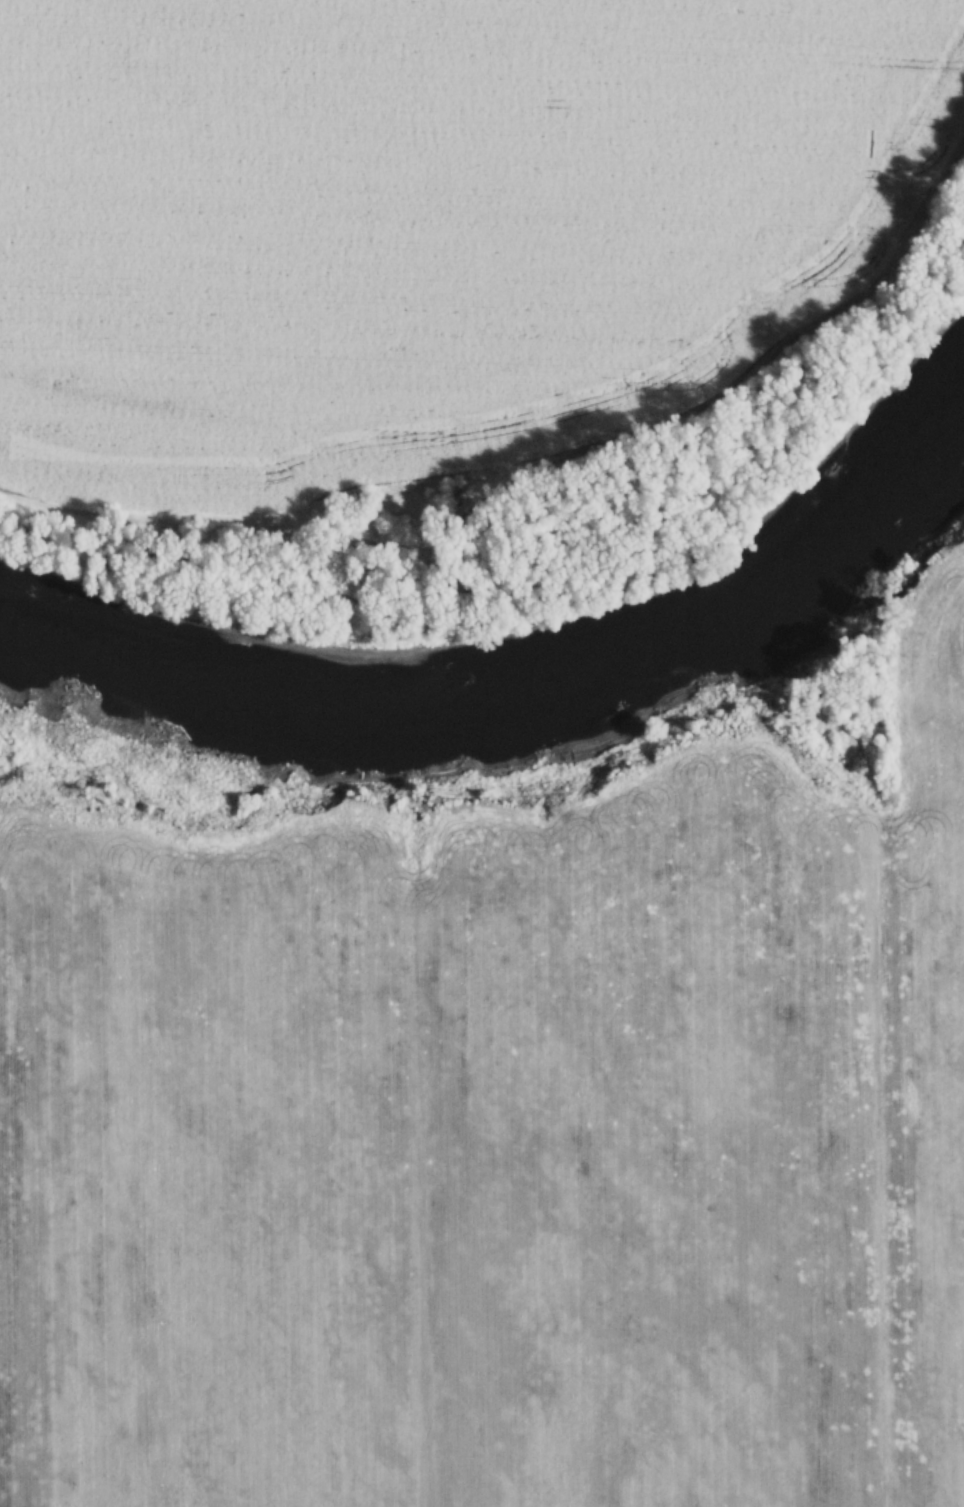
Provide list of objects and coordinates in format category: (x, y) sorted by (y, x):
river: (523, 691)

